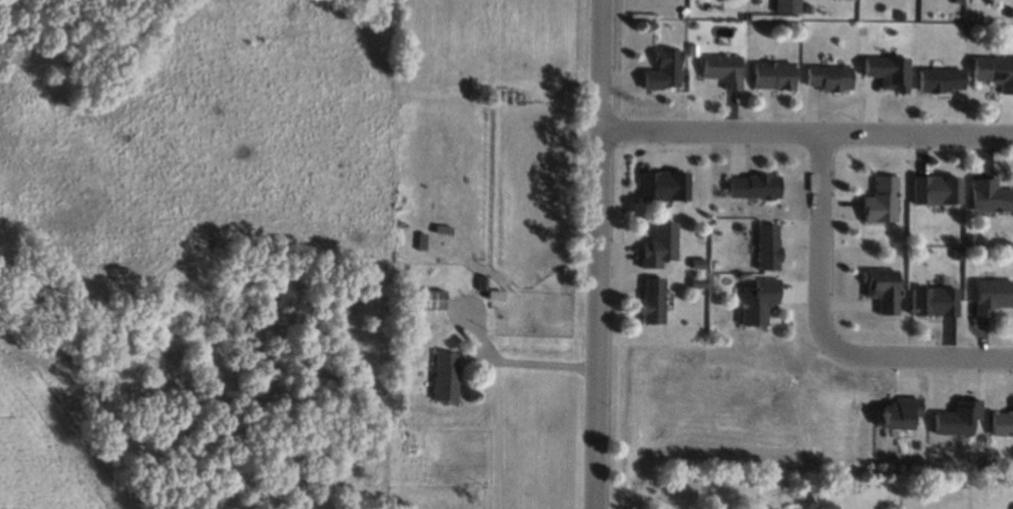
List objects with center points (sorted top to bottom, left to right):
building: (786, 6)
building: (722, 69)
building: (663, 70)
building: (994, 71)
building: (888, 72)
building: (773, 75)
building: (829, 78)
building: (941, 80)
road: (807, 130)
building: (663, 185)
building: (753, 186)
building: (936, 189)
building: (990, 196)
building: (882, 201)
building: (659, 246)
building: (768, 246)
road: (599, 254)
building: (882, 289)
building: (992, 295)
building: (432, 299)
building: (651, 300)
building: (758, 301)
building: (933, 301)
road: (822, 331)
road: (511, 368)
building: (444, 376)
building: (899, 412)
building: (957, 417)
building: (1001, 423)
road: (492, 435)

